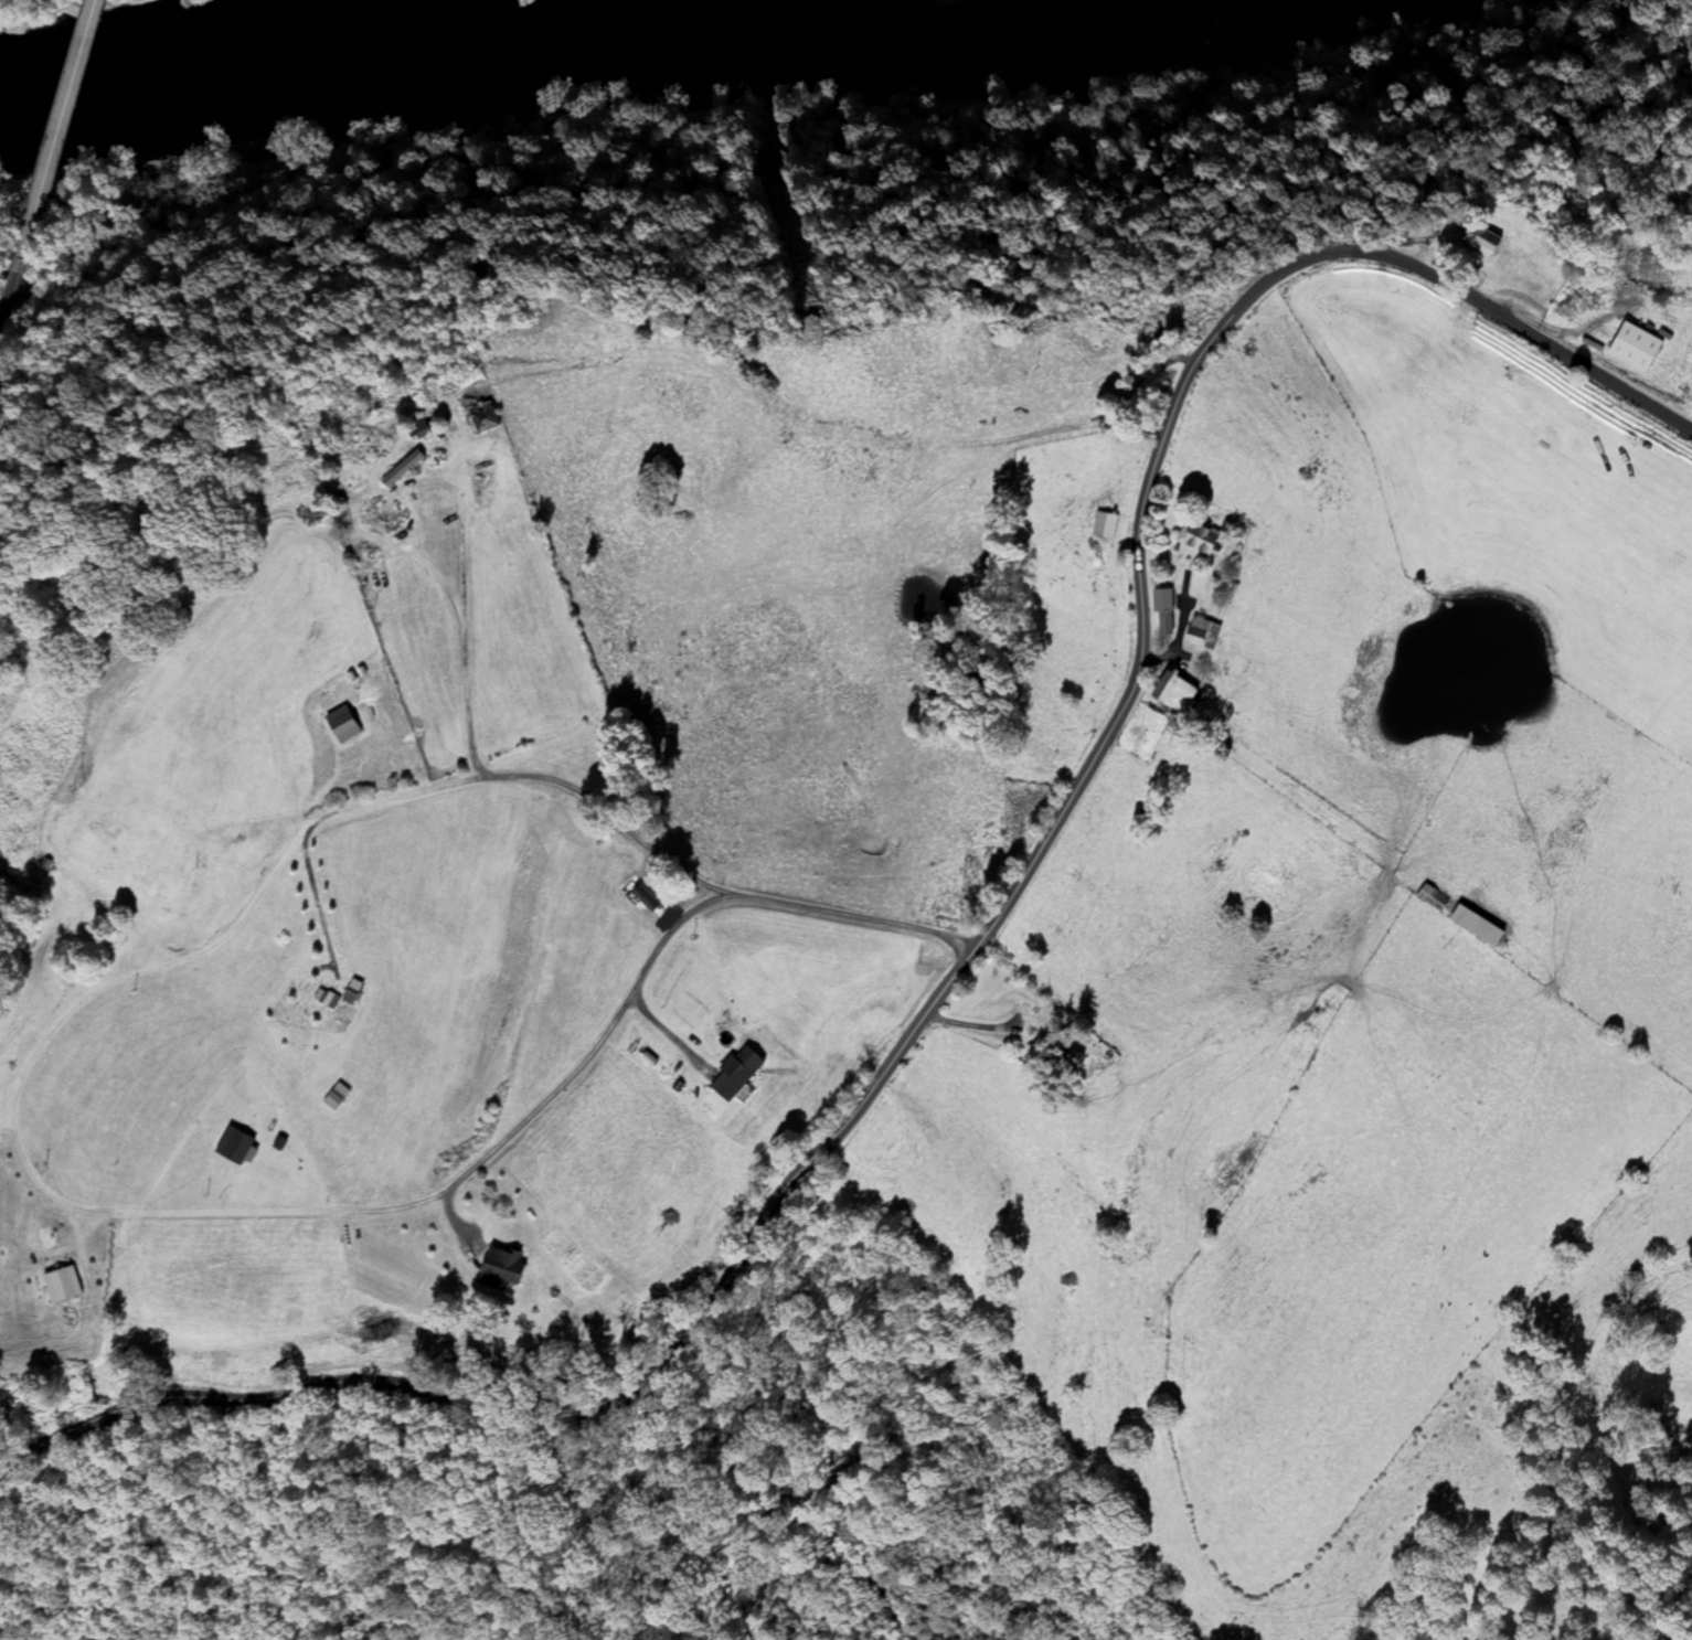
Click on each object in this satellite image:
river: (584, 44)
road: (65, 120)
building: (1479, 239)
road: (20, 286)
road: (6, 318)
building: (1632, 348)
building: (480, 418)
building: (414, 426)
building: (401, 469)
building: (381, 520)
building: (1103, 524)
building: (1198, 540)
building: (1162, 611)
building: (1201, 633)
building: (1172, 693)
building: (342, 725)
road: (270, 870)
building: (1430, 898)
building: (1475, 927)
road: (978, 929)
building: (734, 1073)
road: (563, 1091)
building: (232, 1147)
building: (499, 1269)
building: (60, 1285)

